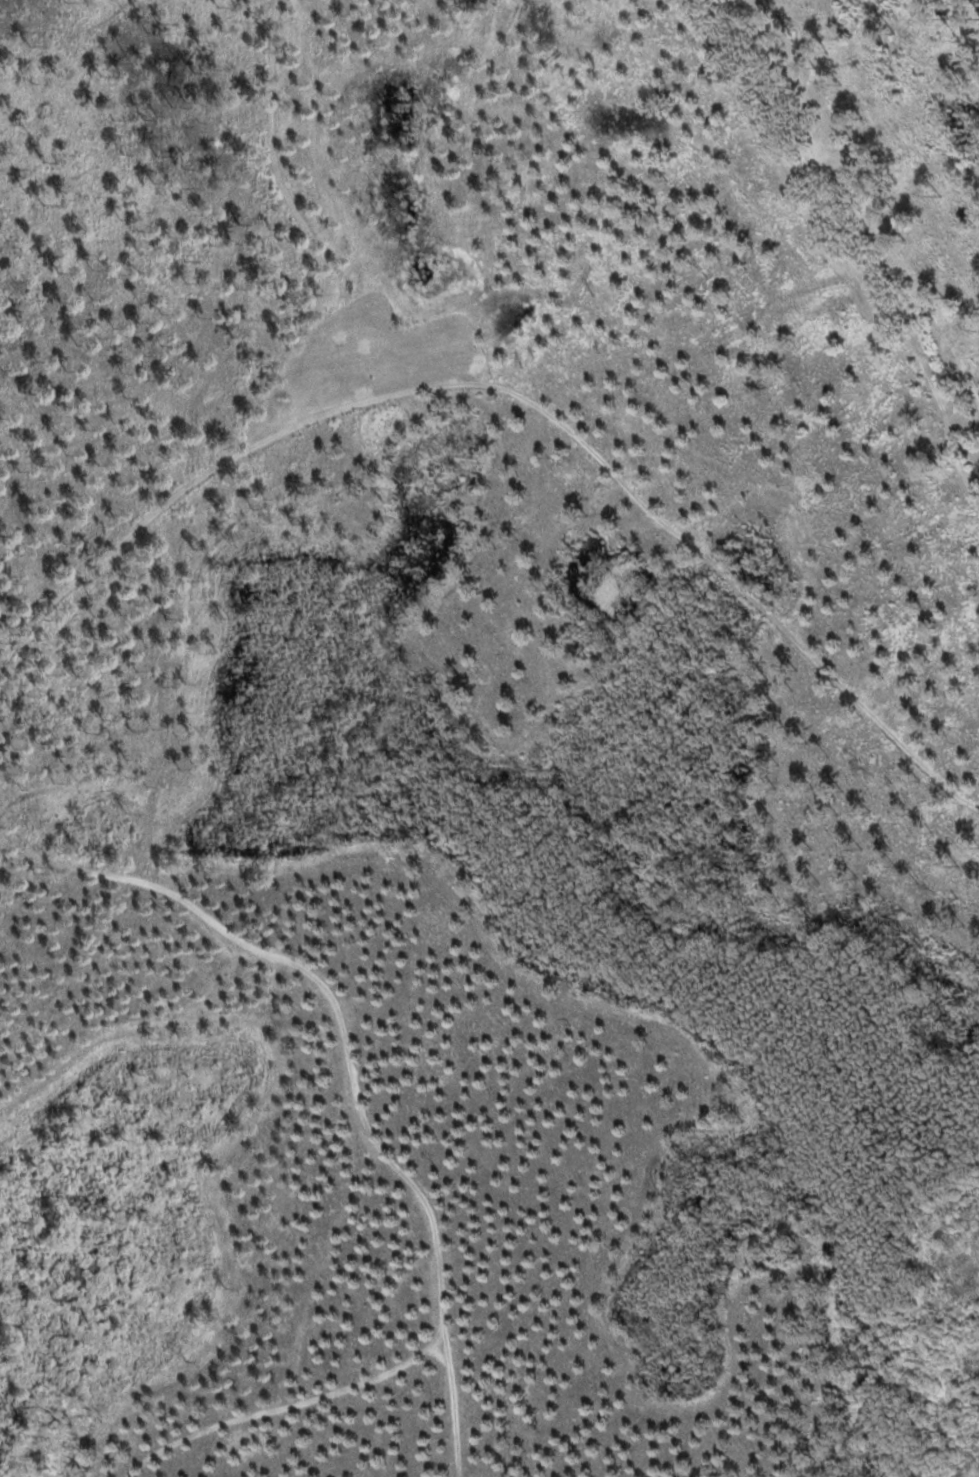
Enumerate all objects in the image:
road: (839, 275)

